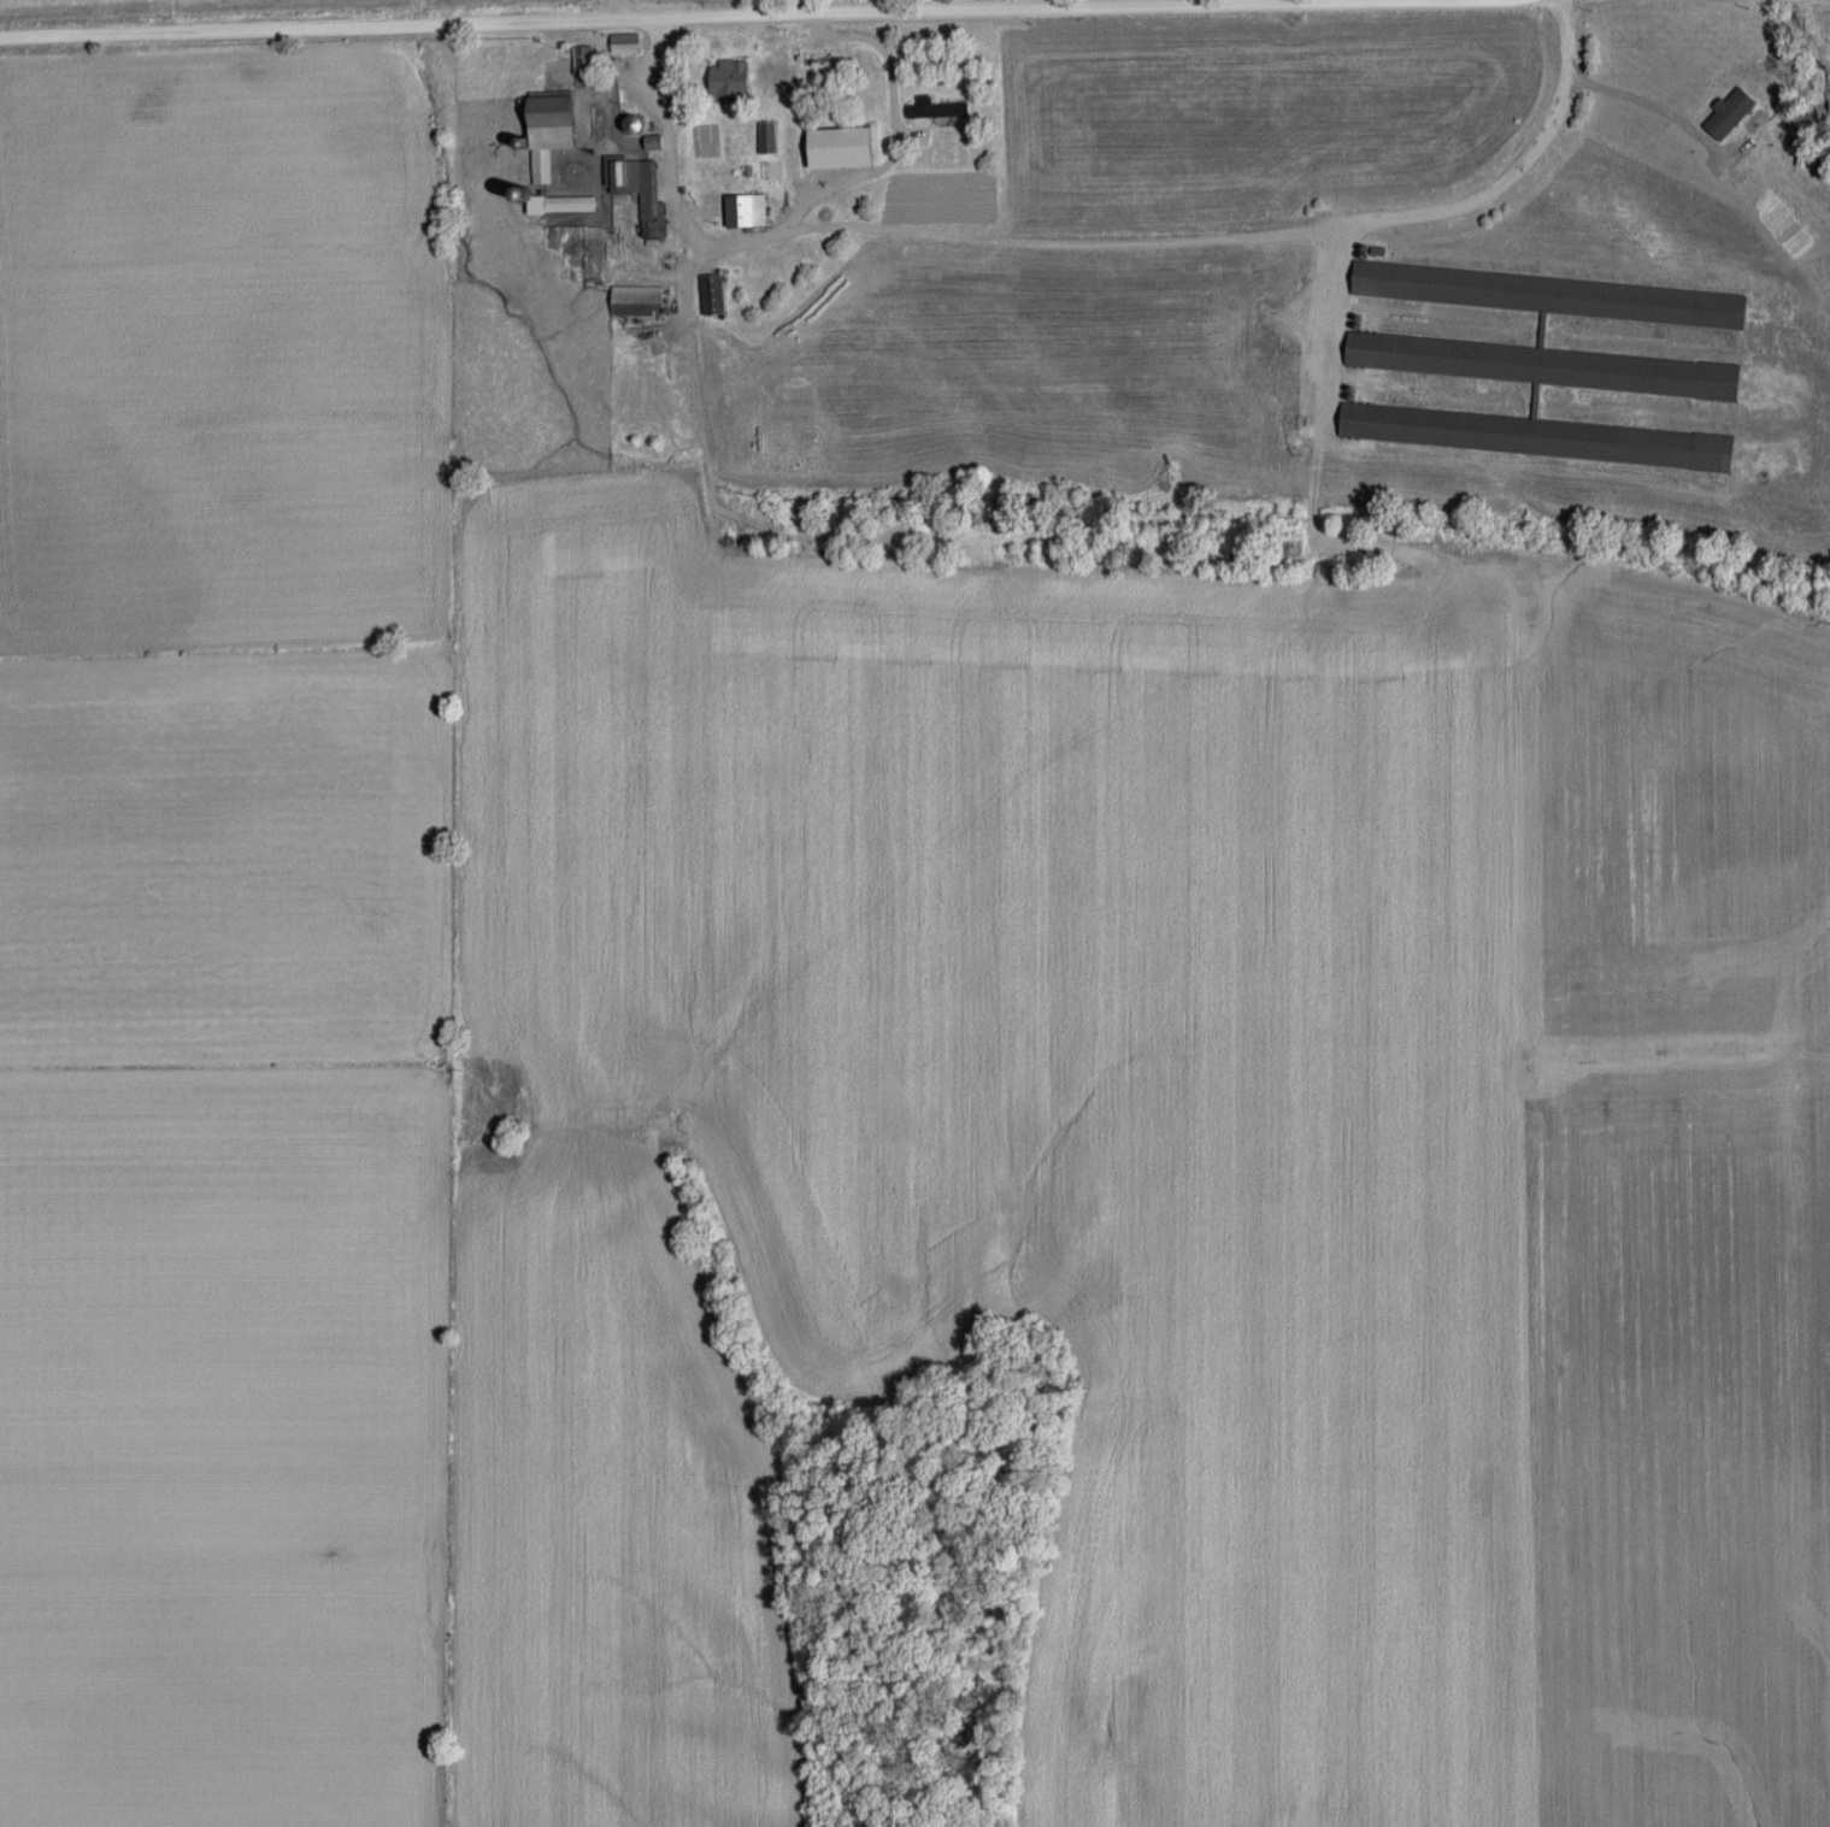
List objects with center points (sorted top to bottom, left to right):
road: (1770, 0)
road: (607, 12)
road: (752, 18)
building: (626, 43)
building: (586, 59)
building: (732, 77)
road: (1661, 98)
building: (937, 108)
building: (552, 129)
building: (845, 147)
building: (640, 190)
building: (554, 201)
building: (748, 210)
road: (799, 216)
road: (1244, 234)
building: (713, 294)
building: (639, 301)
road: (1325, 324)
building: (1546, 366)

